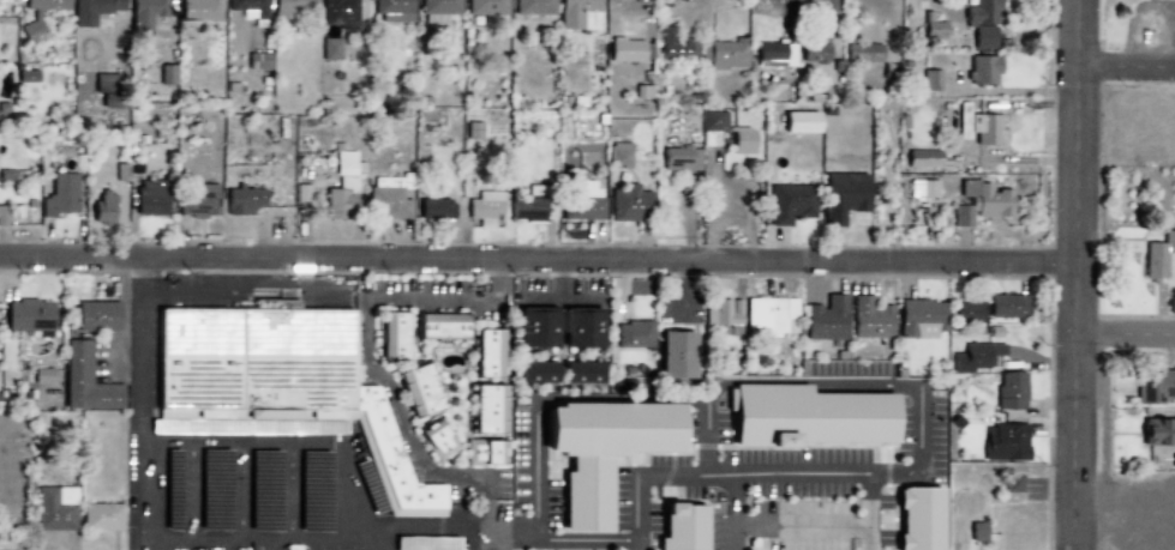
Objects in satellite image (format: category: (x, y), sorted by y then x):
building: (44, 4)
building: (486, 6)
building: (533, 6)
building: (294, 7)
building: (248, 8)
building: (92, 10)
building: (199, 10)
building: (394, 10)
building: (438, 10)
building: (981, 12)
building: (338, 13)
building: (578, 14)
building: (151, 16)
building: (32, 26)
building: (983, 36)
building: (675, 47)
building: (330, 48)
building: (624, 49)
building: (816, 49)
building: (862, 52)
building: (726, 54)
building: (774, 54)
building: (257, 60)
road: (1128, 65)
building: (982, 68)
building: (169, 73)
building: (25, 74)
building: (930, 79)
building: (107, 89)
building: (799, 121)
building: (712, 126)
building: (977, 126)
building: (742, 140)
building: (618, 153)
building: (681, 158)
building: (922, 158)
building: (347, 164)
building: (120, 171)
building: (923, 188)
building: (60, 194)
building: (841, 195)
building: (150, 197)
building: (341, 198)
building: (197, 200)
building: (242, 200)
building: (581, 201)
building: (388, 203)
building: (789, 203)
building: (979, 203)
building: (629, 204)
building: (102, 205)
building: (484, 207)
building: (433, 208)
building: (547, 211)
building: (2, 213)
road: (539, 255)
building: (1157, 255)
road: (1080, 274)
road: (560, 278)
road: (560, 300)
building: (1006, 306)
building: (967, 312)
building: (724, 314)
building: (26, 315)
building: (96, 315)
building: (772, 318)
building: (870, 318)
building: (919, 318)
building: (826, 319)
building: (438, 326)
building: (557, 327)
road: (1128, 333)
building: (633, 334)
building: (389, 336)
building: (484, 352)
building: (673, 353)
road: (370, 364)
building: (533, 371)
building: (578, 371)
building: (41, 375)
building: (280, 380)
building: (86, 381)
road: (816, 381)
building: (1153, 386)
building: (1009, 389)
building: (415, 391)
road: (140, 404)
building: (485, 409)
building: (807, 416)
building: (1157, 431)
building: (436, 440)
building: (1005, 442)
building: (598, 449)
building: (482, 452)
road: (735, 476)
building: (1012, 483)
building: (212, 489)
building: (262, 490)
building: (312, 491)
building: (54, 508)
road: (864, 512)
road: (729, 513)
building: (100, 516)
building: (916, 519)
road: (796, 524)
building: (679, 527)
building: (976, 531)
road: (320, 538)
road: (562, 539)

